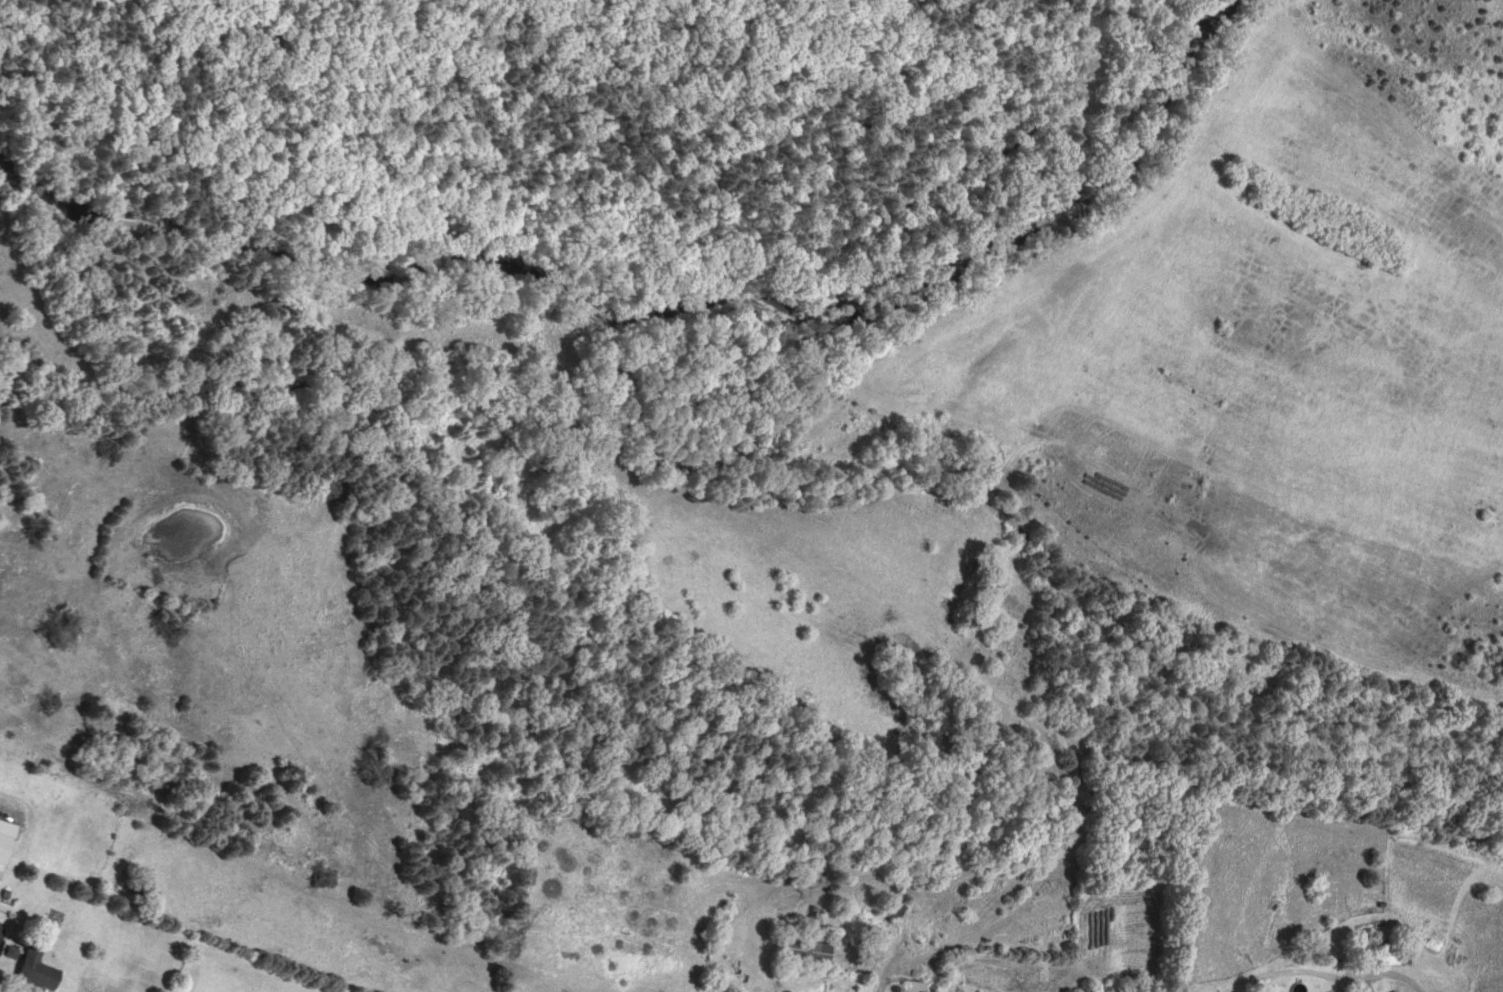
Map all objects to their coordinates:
building: (1488, 841)
building: (893, 907)
building: (799, 950)
building: (1384, 953)
building: (32, 968)
building: (900, 991)
building: (1390, 991)

